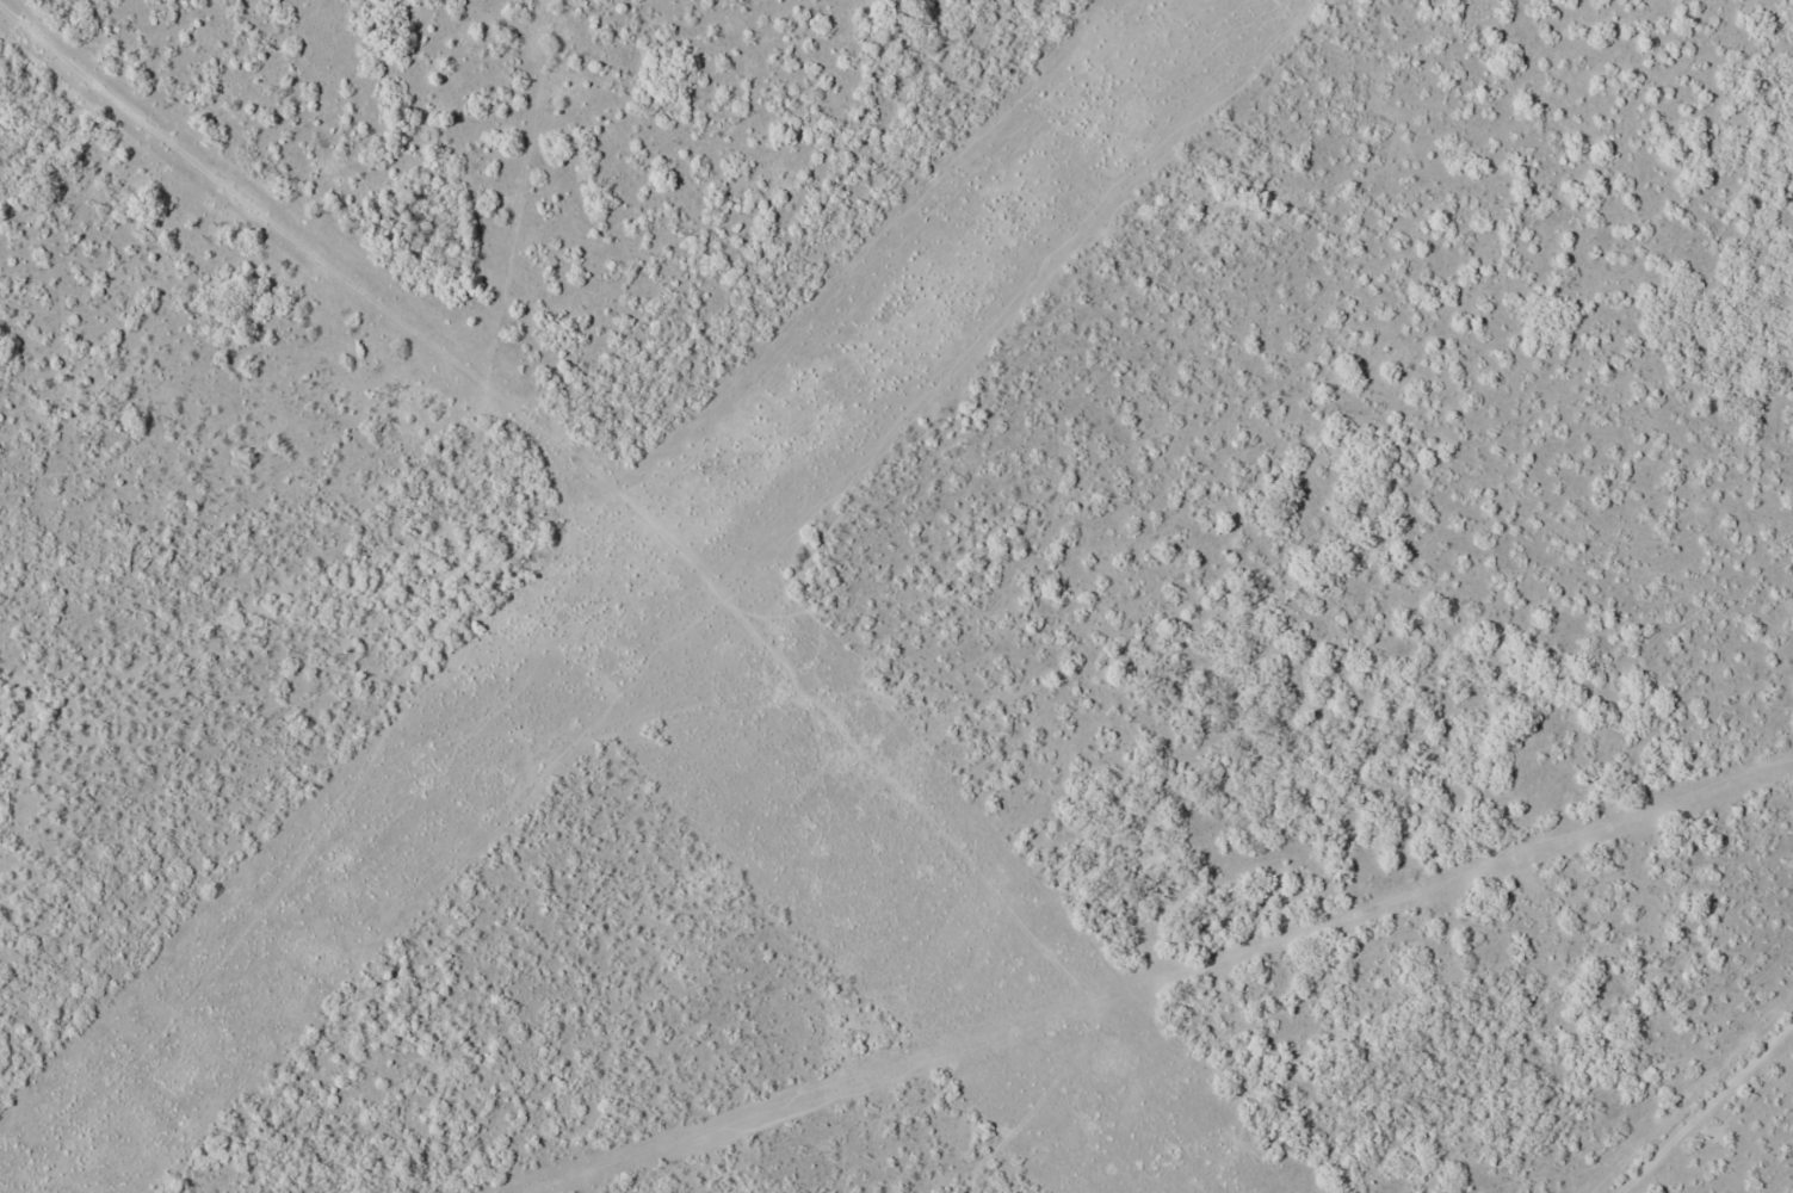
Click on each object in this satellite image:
road: (1721, 1124)

